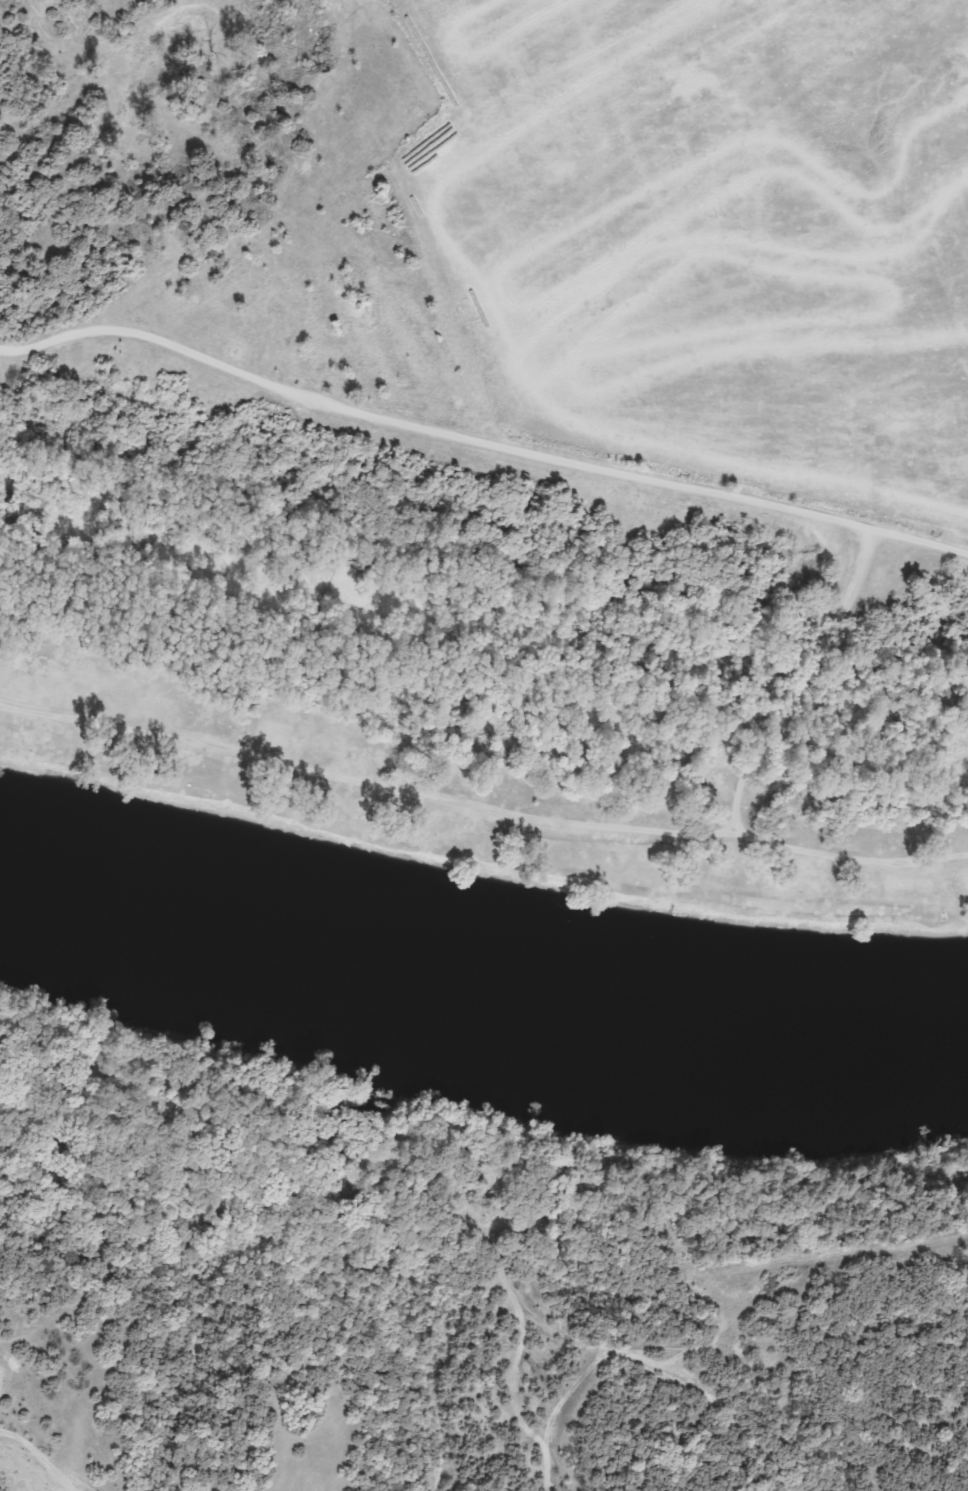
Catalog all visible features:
road: (480, 435)
road: (793, 672)
road: (361, 773)
road: (845, 846)
river: (479, 1007)

